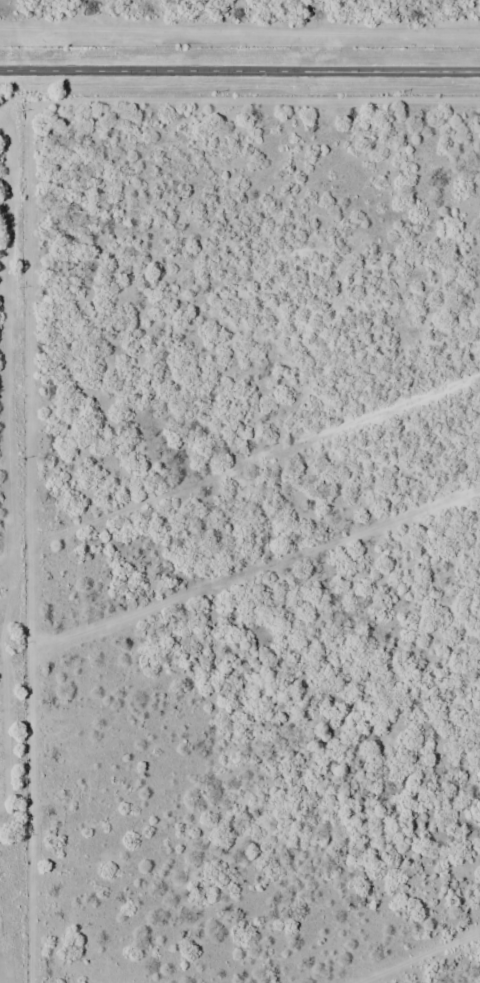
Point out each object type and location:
road: (240, 71)

